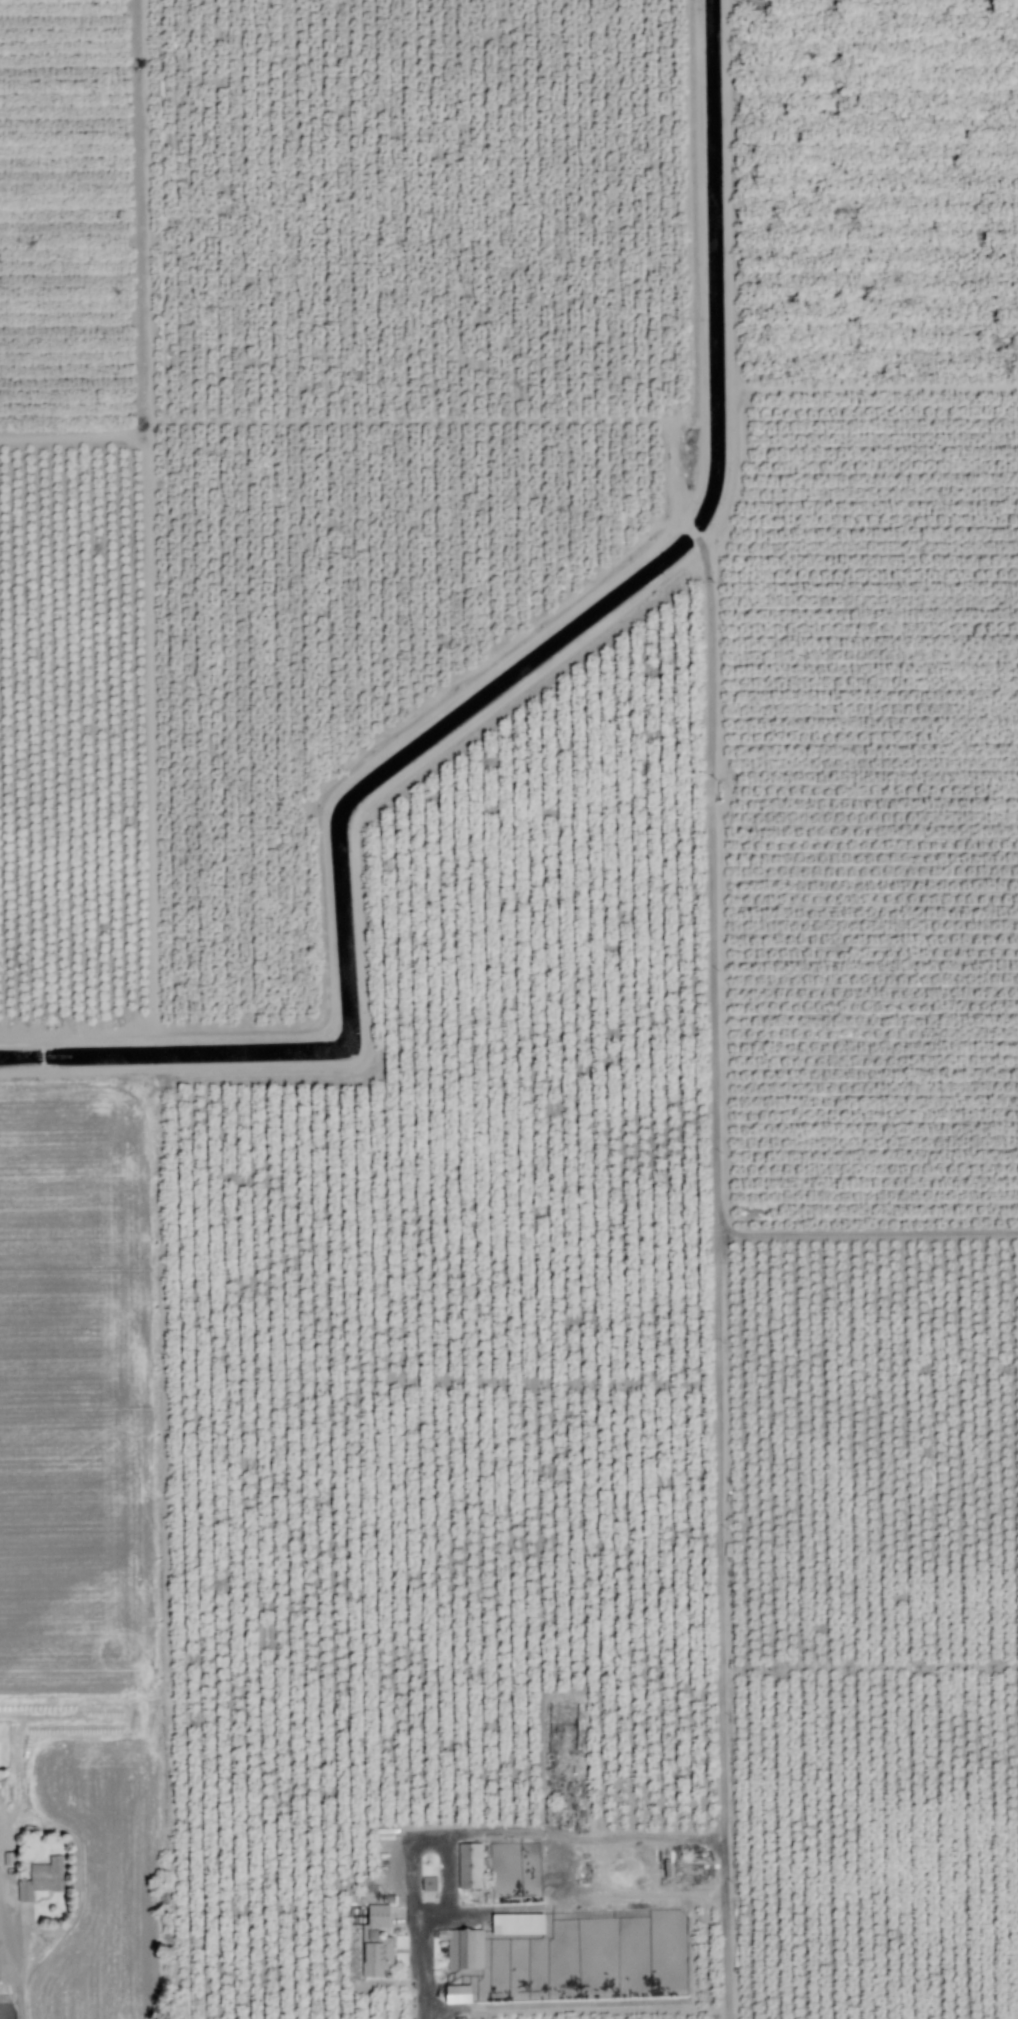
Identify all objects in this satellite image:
building: (471, 1868)
building: (43, 1881)
building: (464, 1950)
building: (377, 1952)
road: (425, 1961)
road: (15, 1964)
road: (9, 1985)

